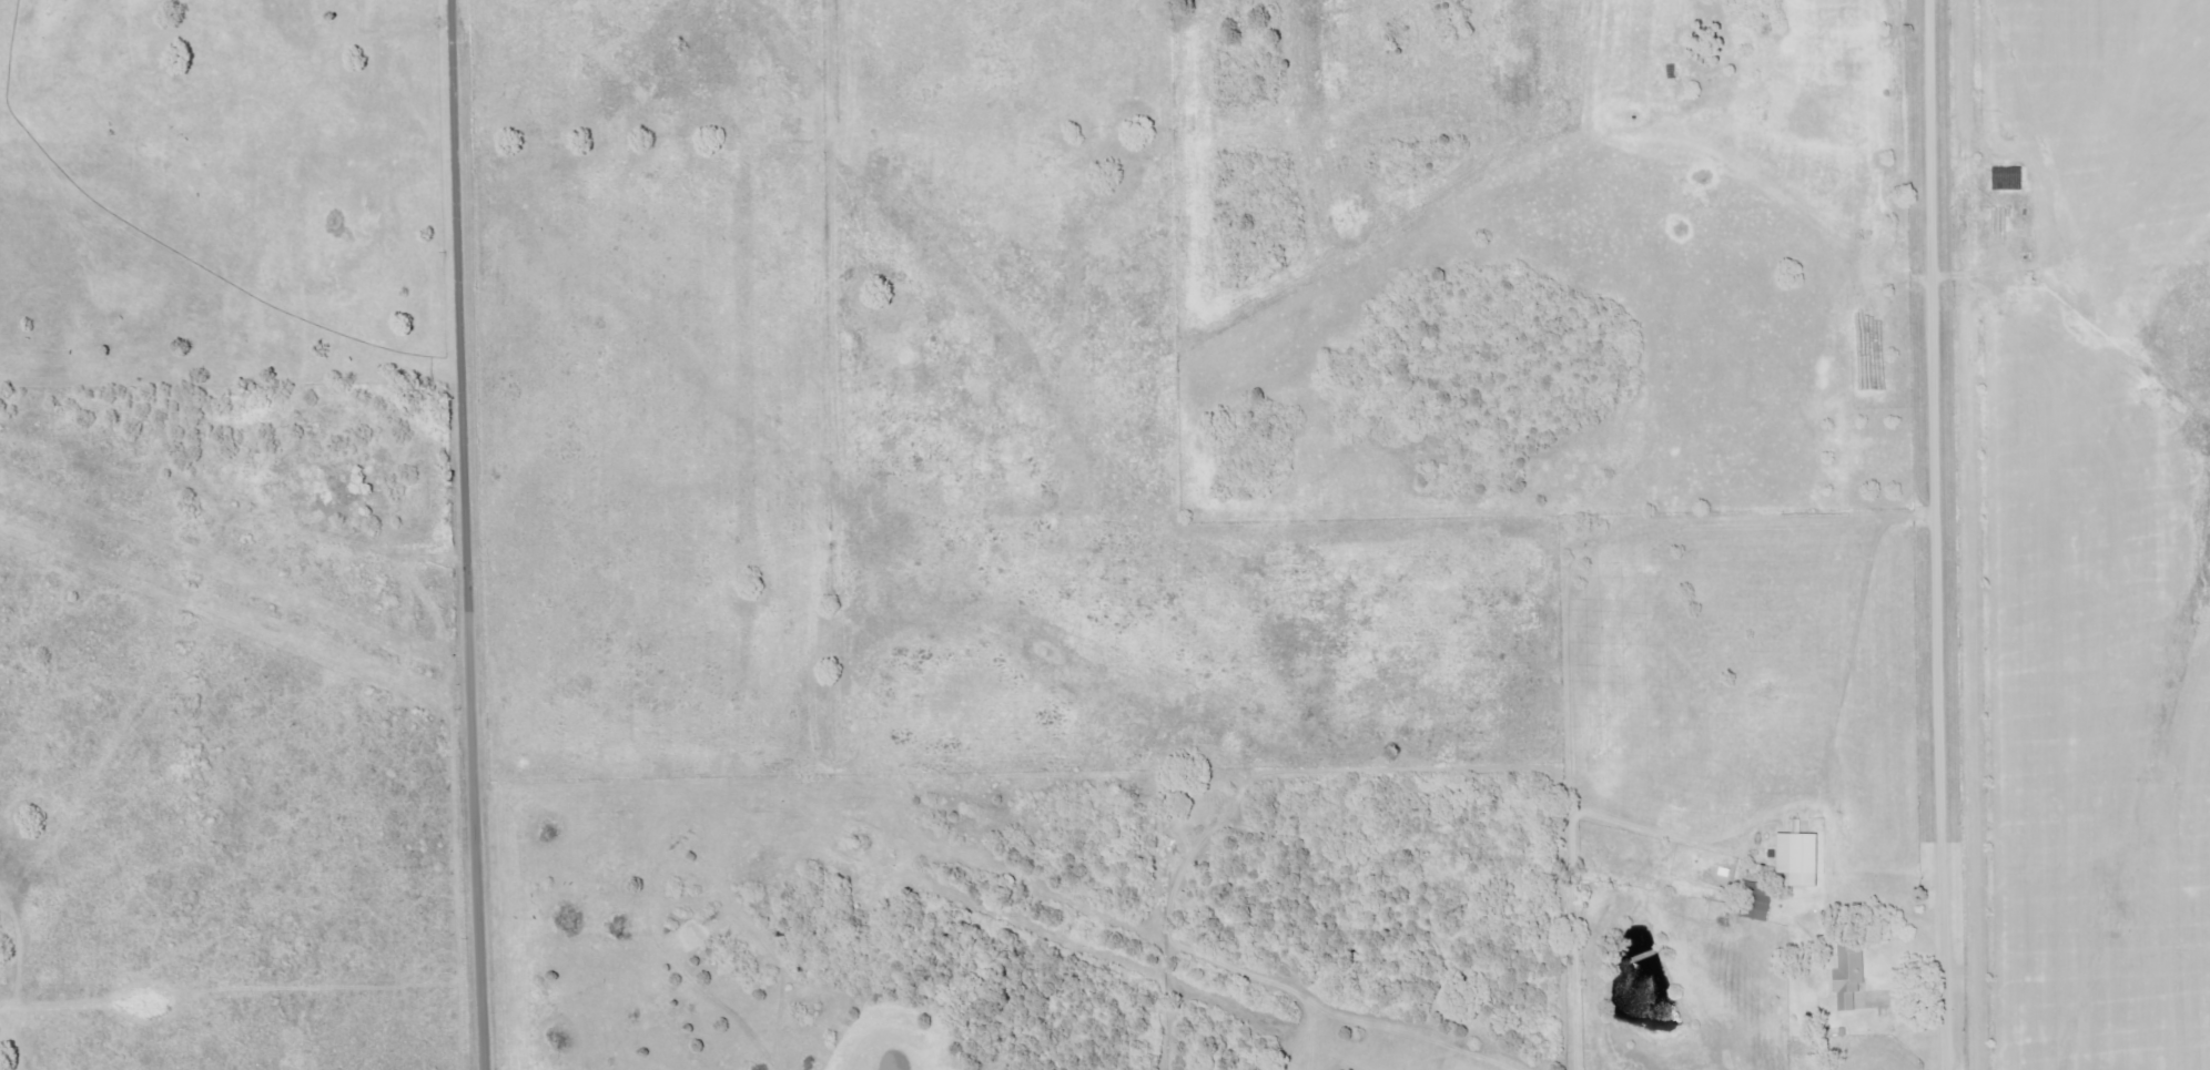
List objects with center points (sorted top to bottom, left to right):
road: (467, 534)
road: (1934, 534)
building: (1801, 859)
building: (1757, 903)
building: (1847, 975)

